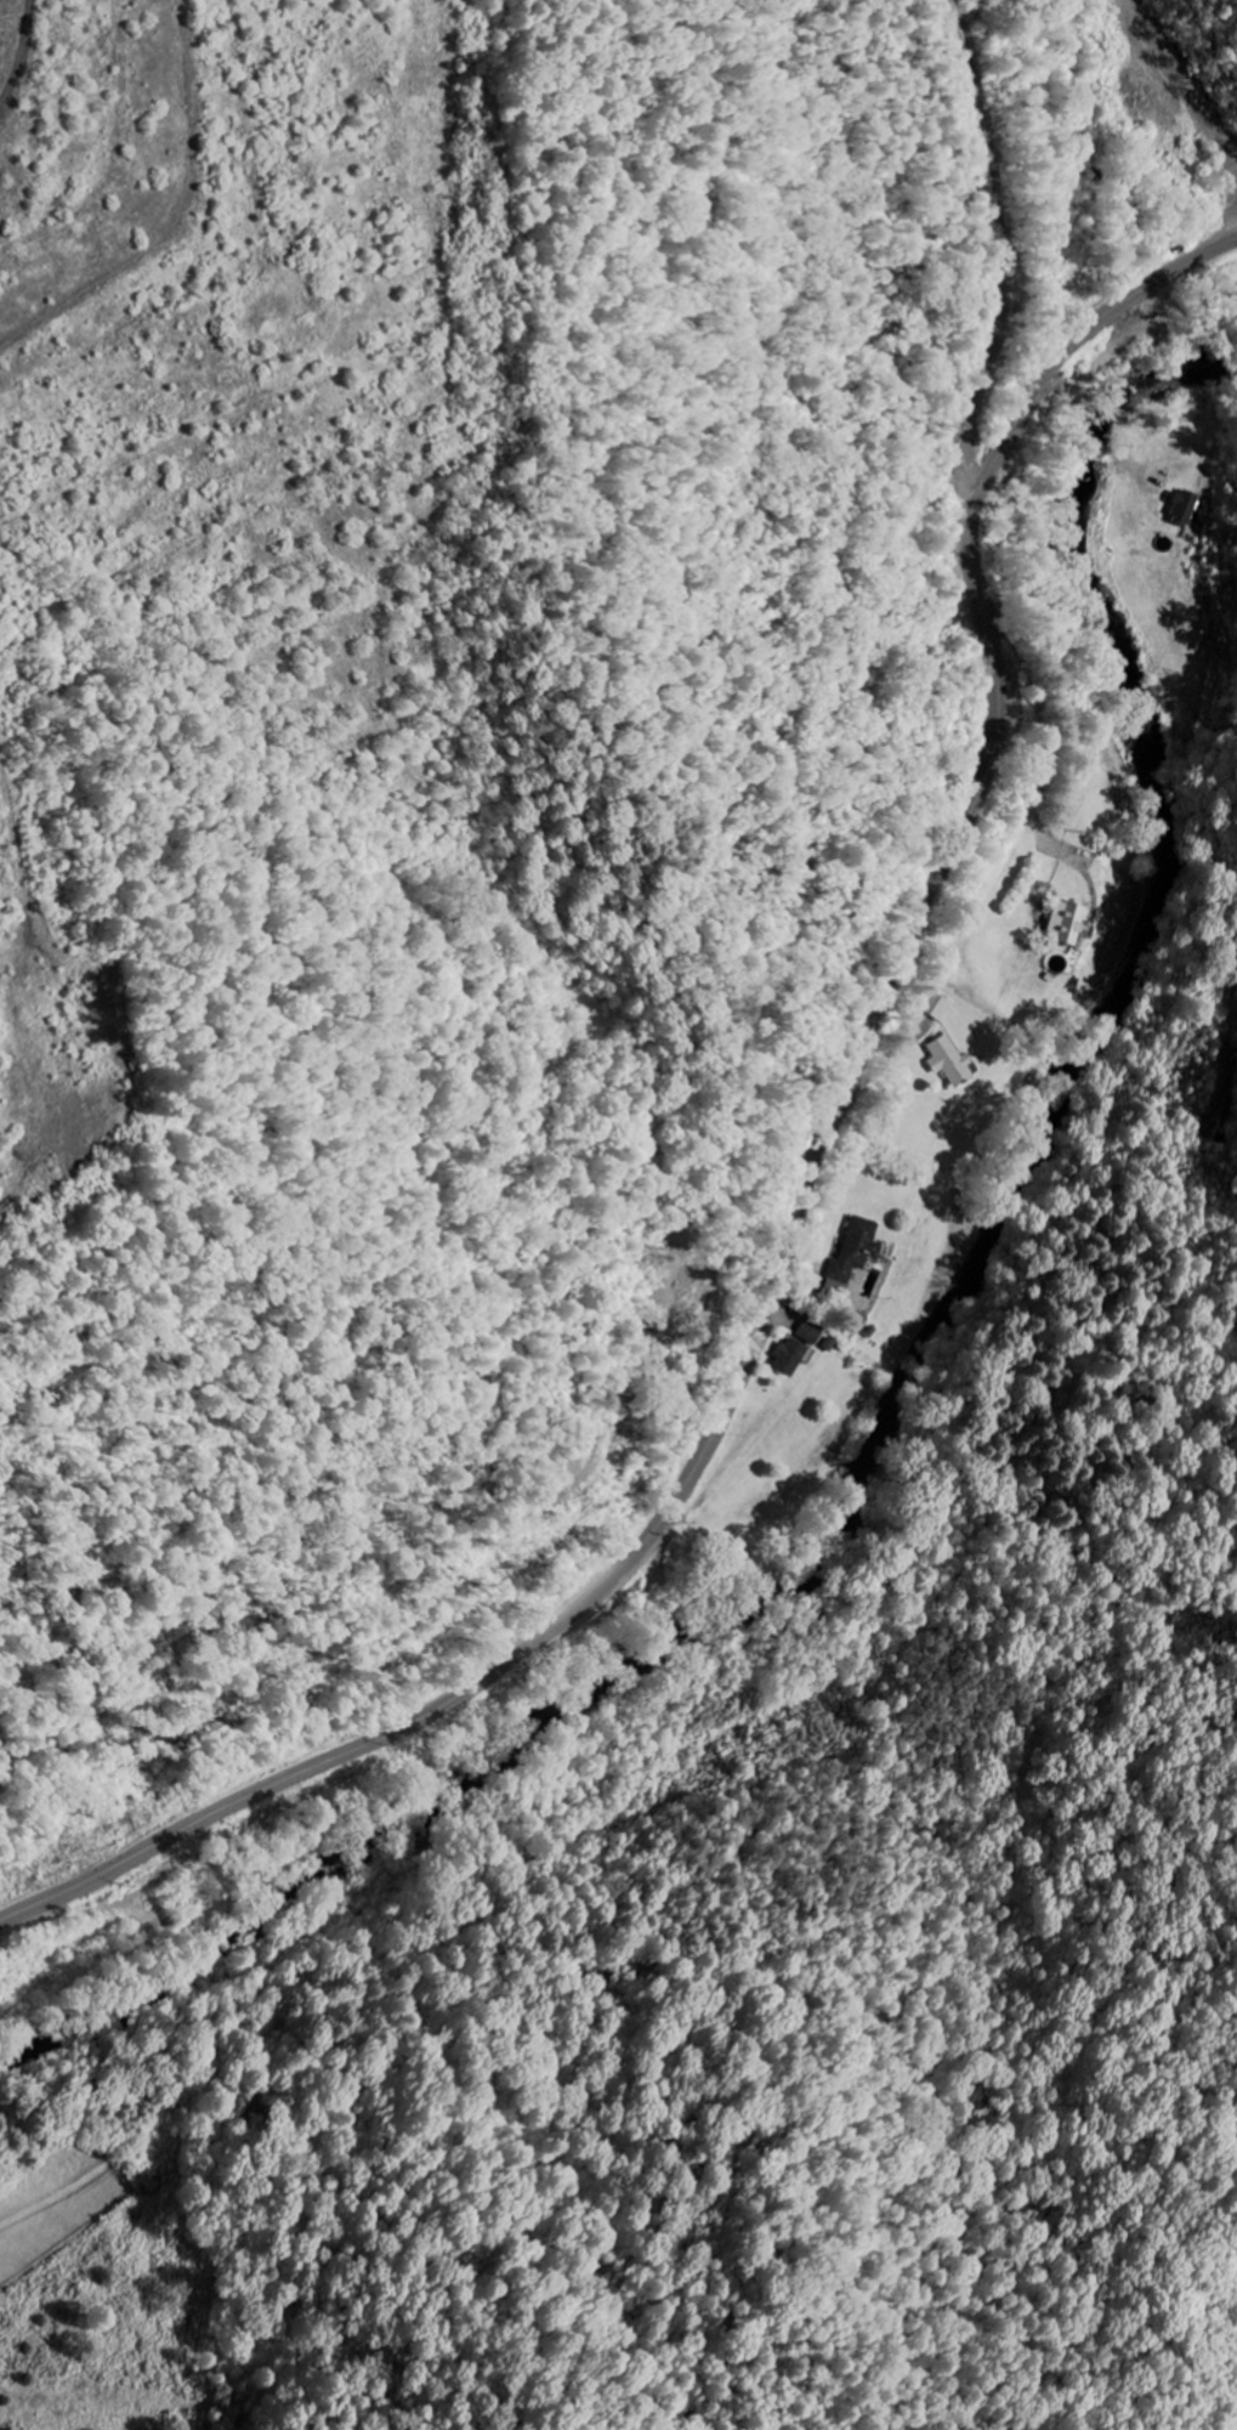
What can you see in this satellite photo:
quarry: (204, 504)
building: (1186, 510)
building: (1061, 924)
building: (932, 1007)
building: (947, 1060)
road: (801, 1207)
building: (857, 1251)
building: (793, 1356)

